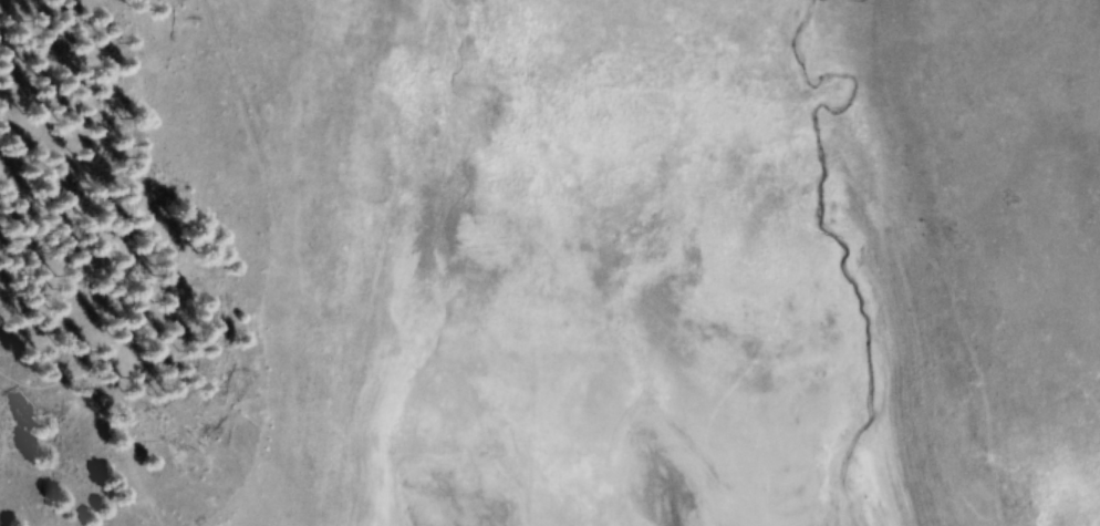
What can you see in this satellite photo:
road: (138, 240)

